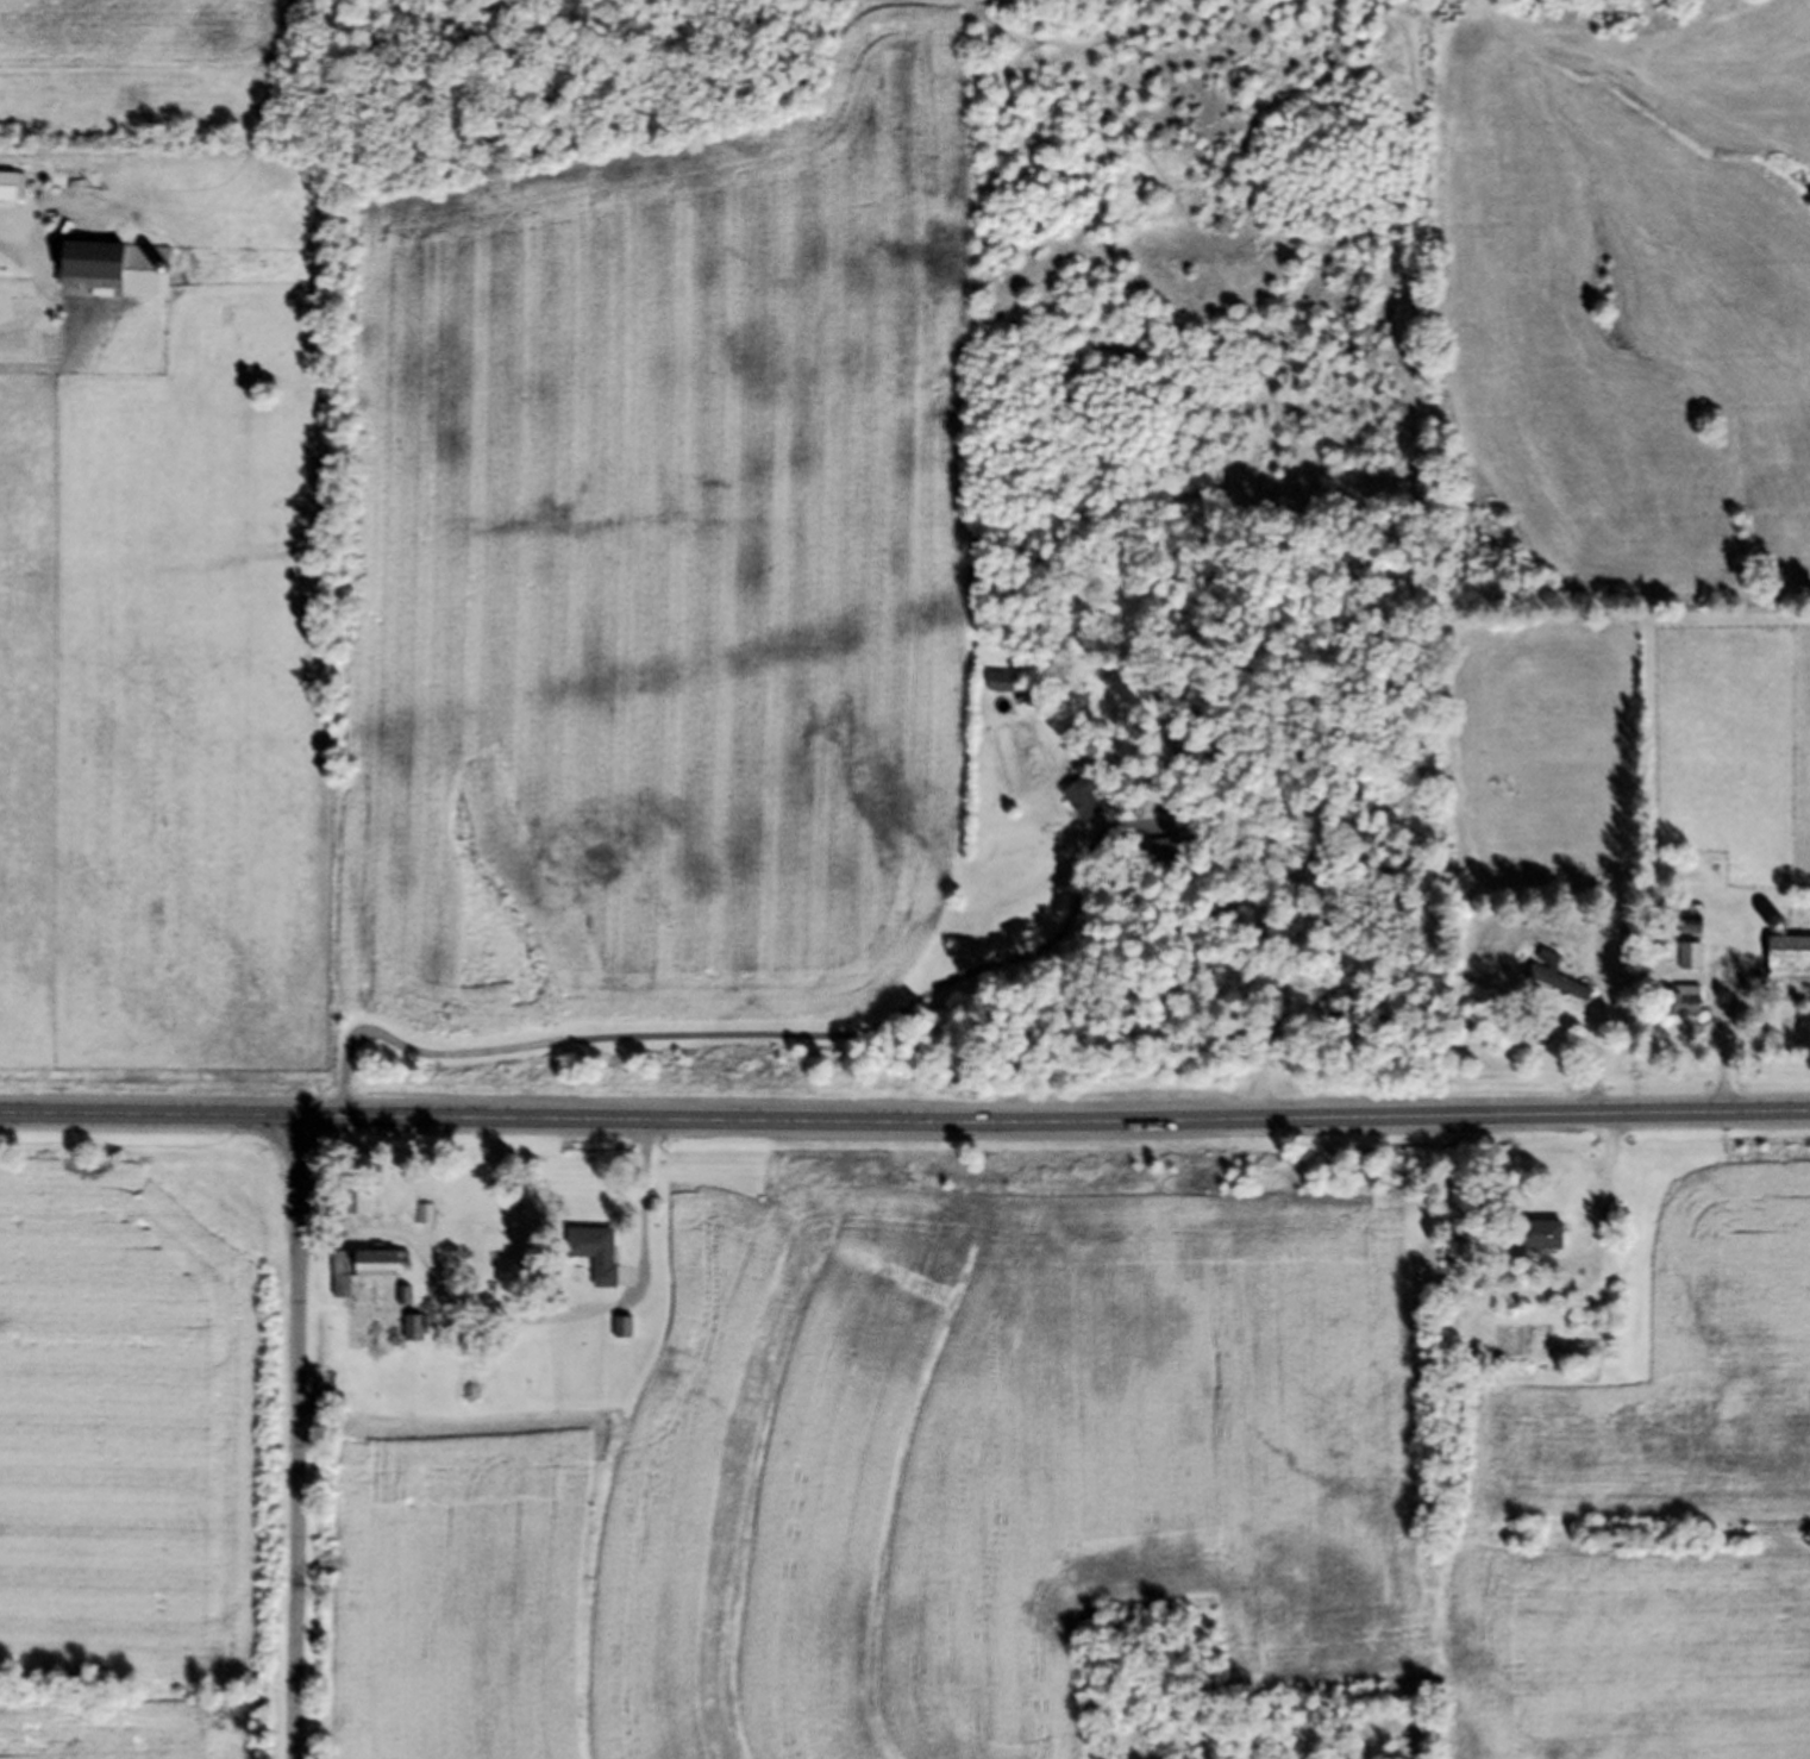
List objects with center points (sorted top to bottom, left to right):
building: (10, 192)
road: (12, 253)
building: (113, 273)
building: (1078, 802)
building: (1784, 965)
building: (1551, 984)
building: (1676, 1010)
road: (703, 1043)
road: (904, 1131)
building: (351, 1209)
building: (474, 1234)
building: (1535, 1242)
building: (590, 1260)
building: (352, 1275)
building: (411, 1339)
building: (462, 1383)
road: (296, 1444)

